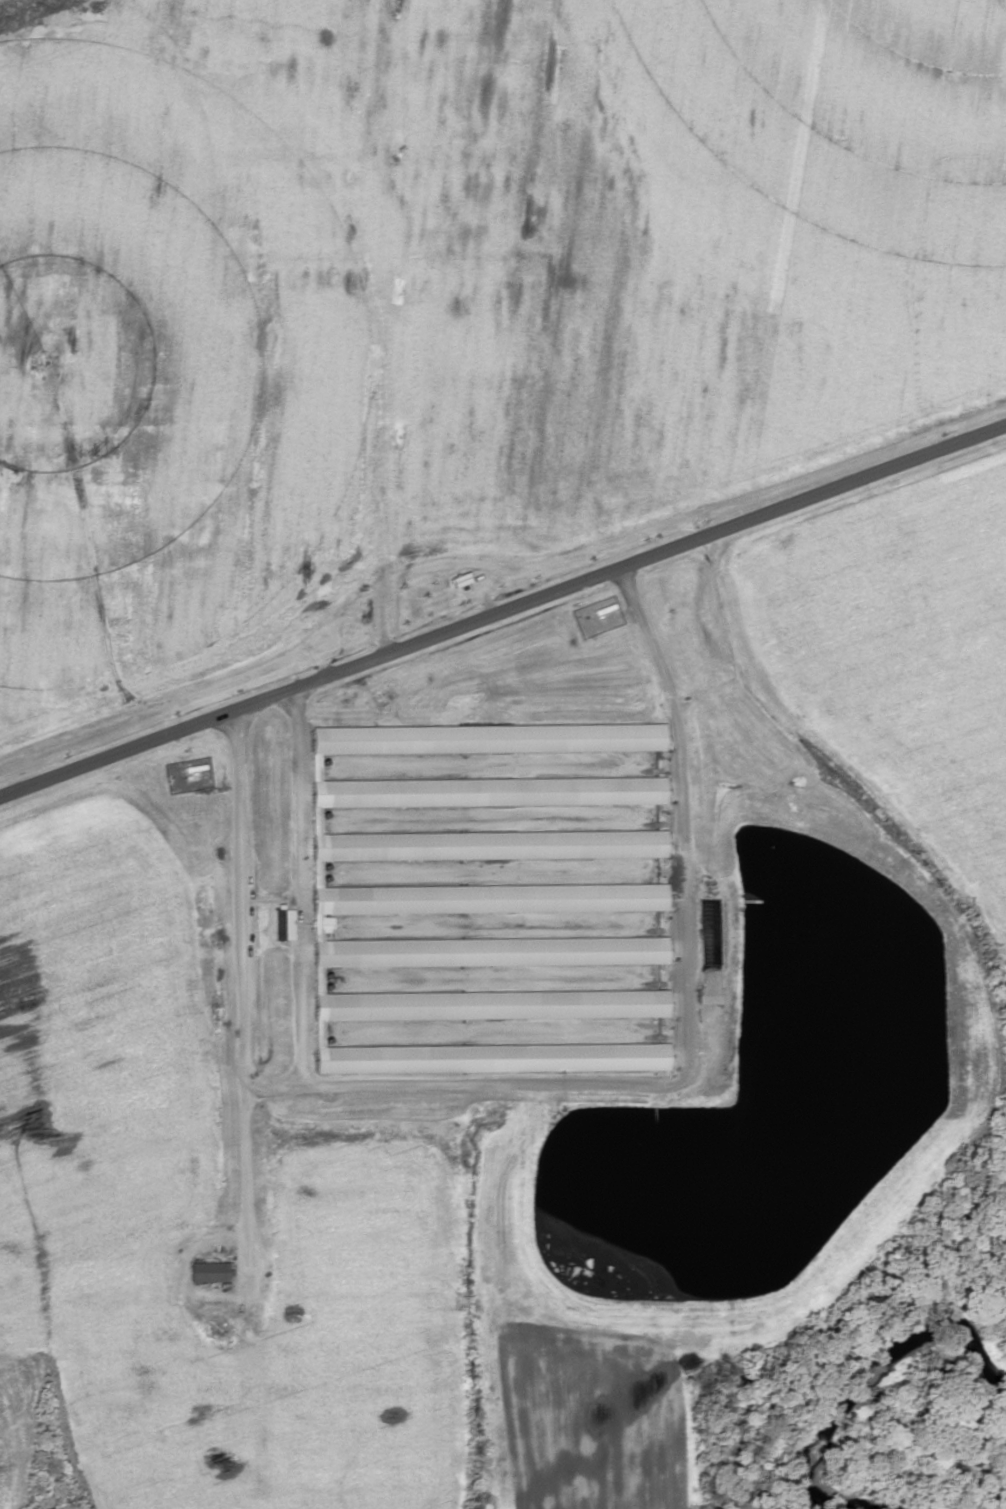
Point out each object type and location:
road: (392, 311)
building: (462, 581)
road: (494, 596)
building: (485, 900)
building: (423, 980)
building: (210, 1273)

